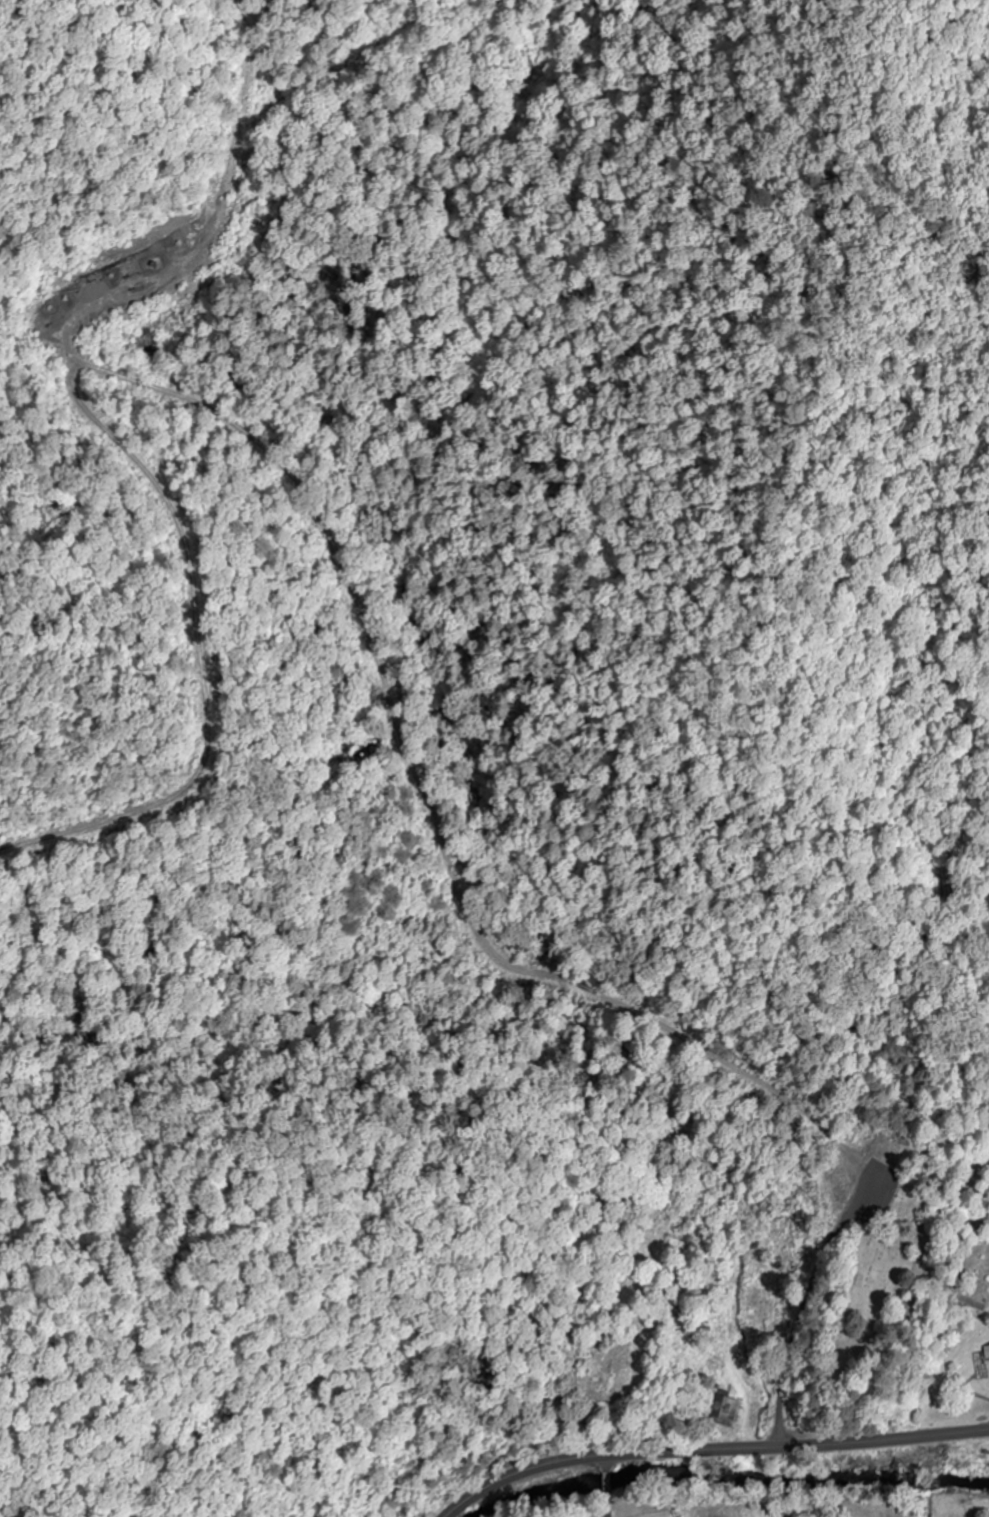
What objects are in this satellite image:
building: (987, 1350)
building: (988, 1370)
building: (726, 1410)
road: (708, 1448)

